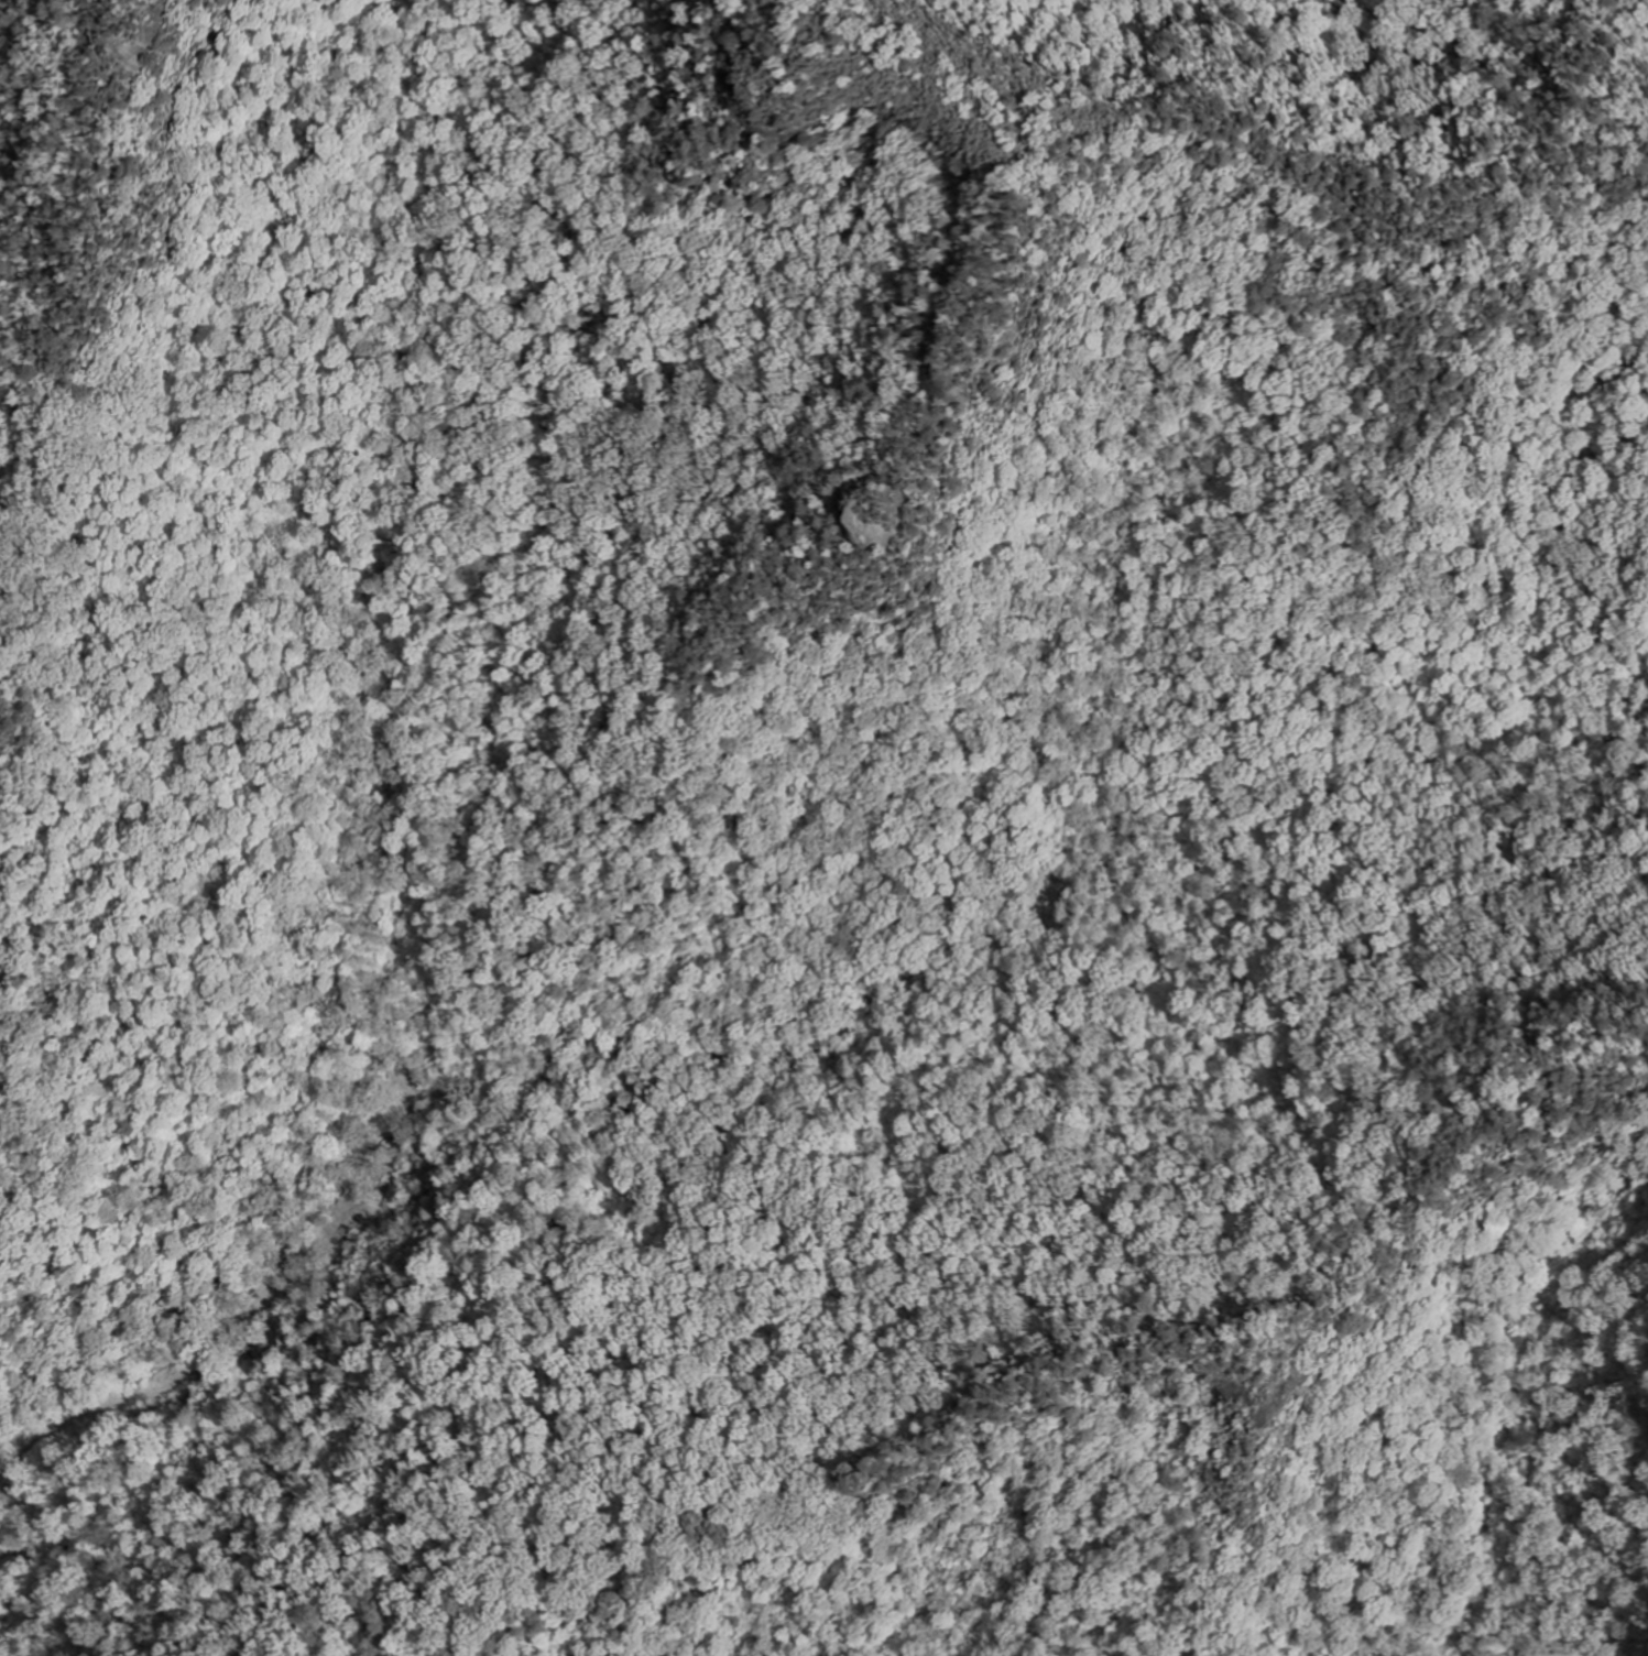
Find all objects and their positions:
road: (128, 8)
road: (925, 74)
road: (1237, 120)

